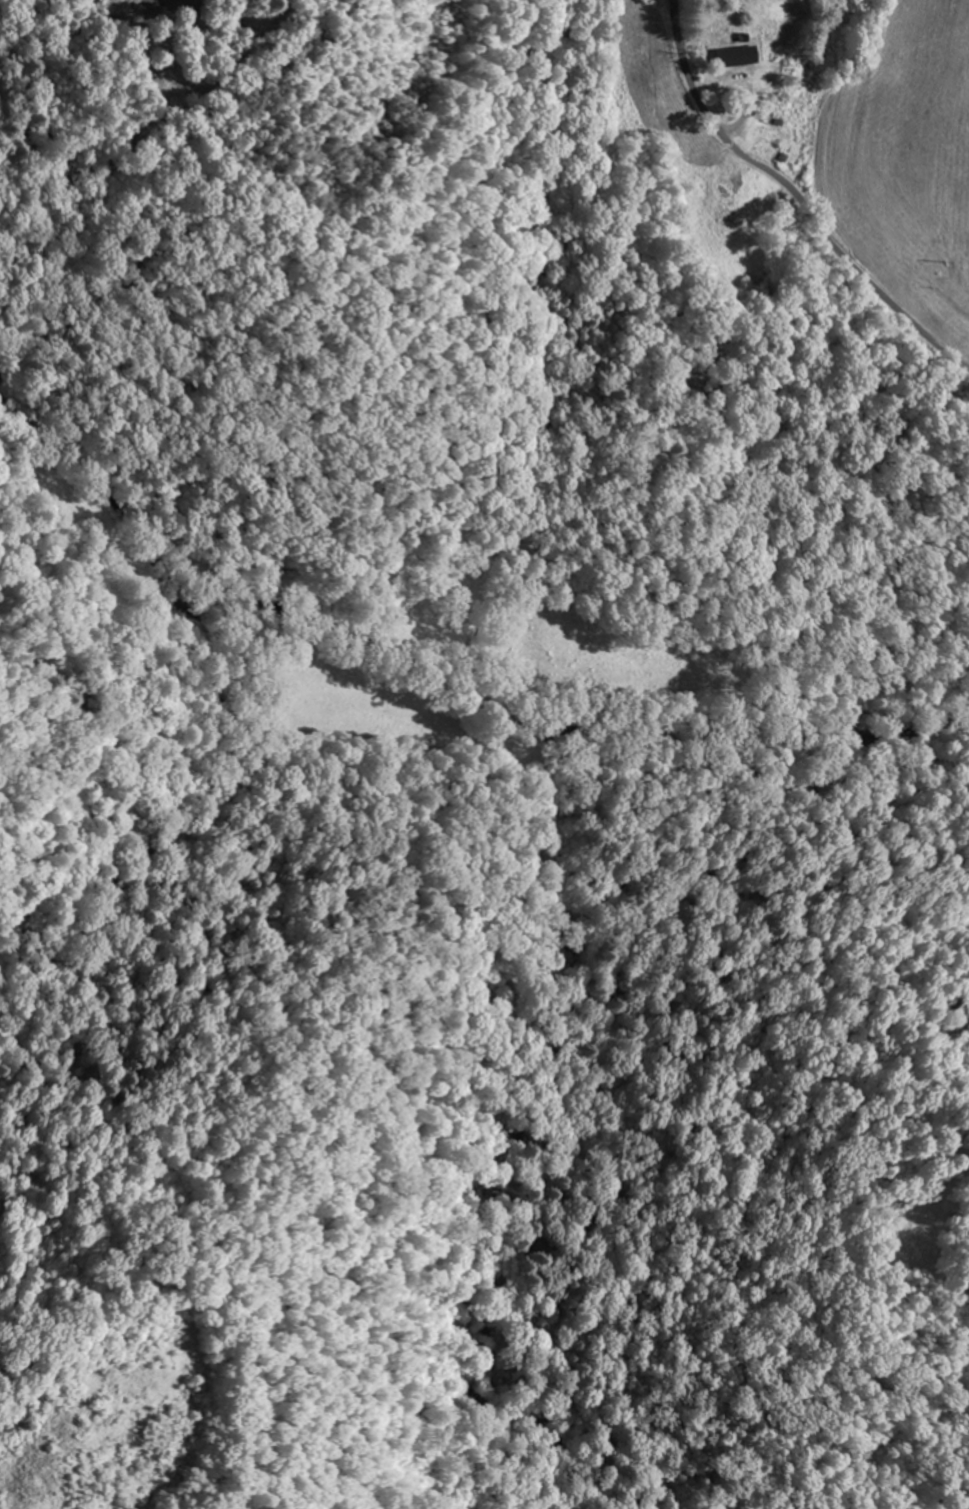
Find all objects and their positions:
building: (733, 57)
road: (798, 196)

